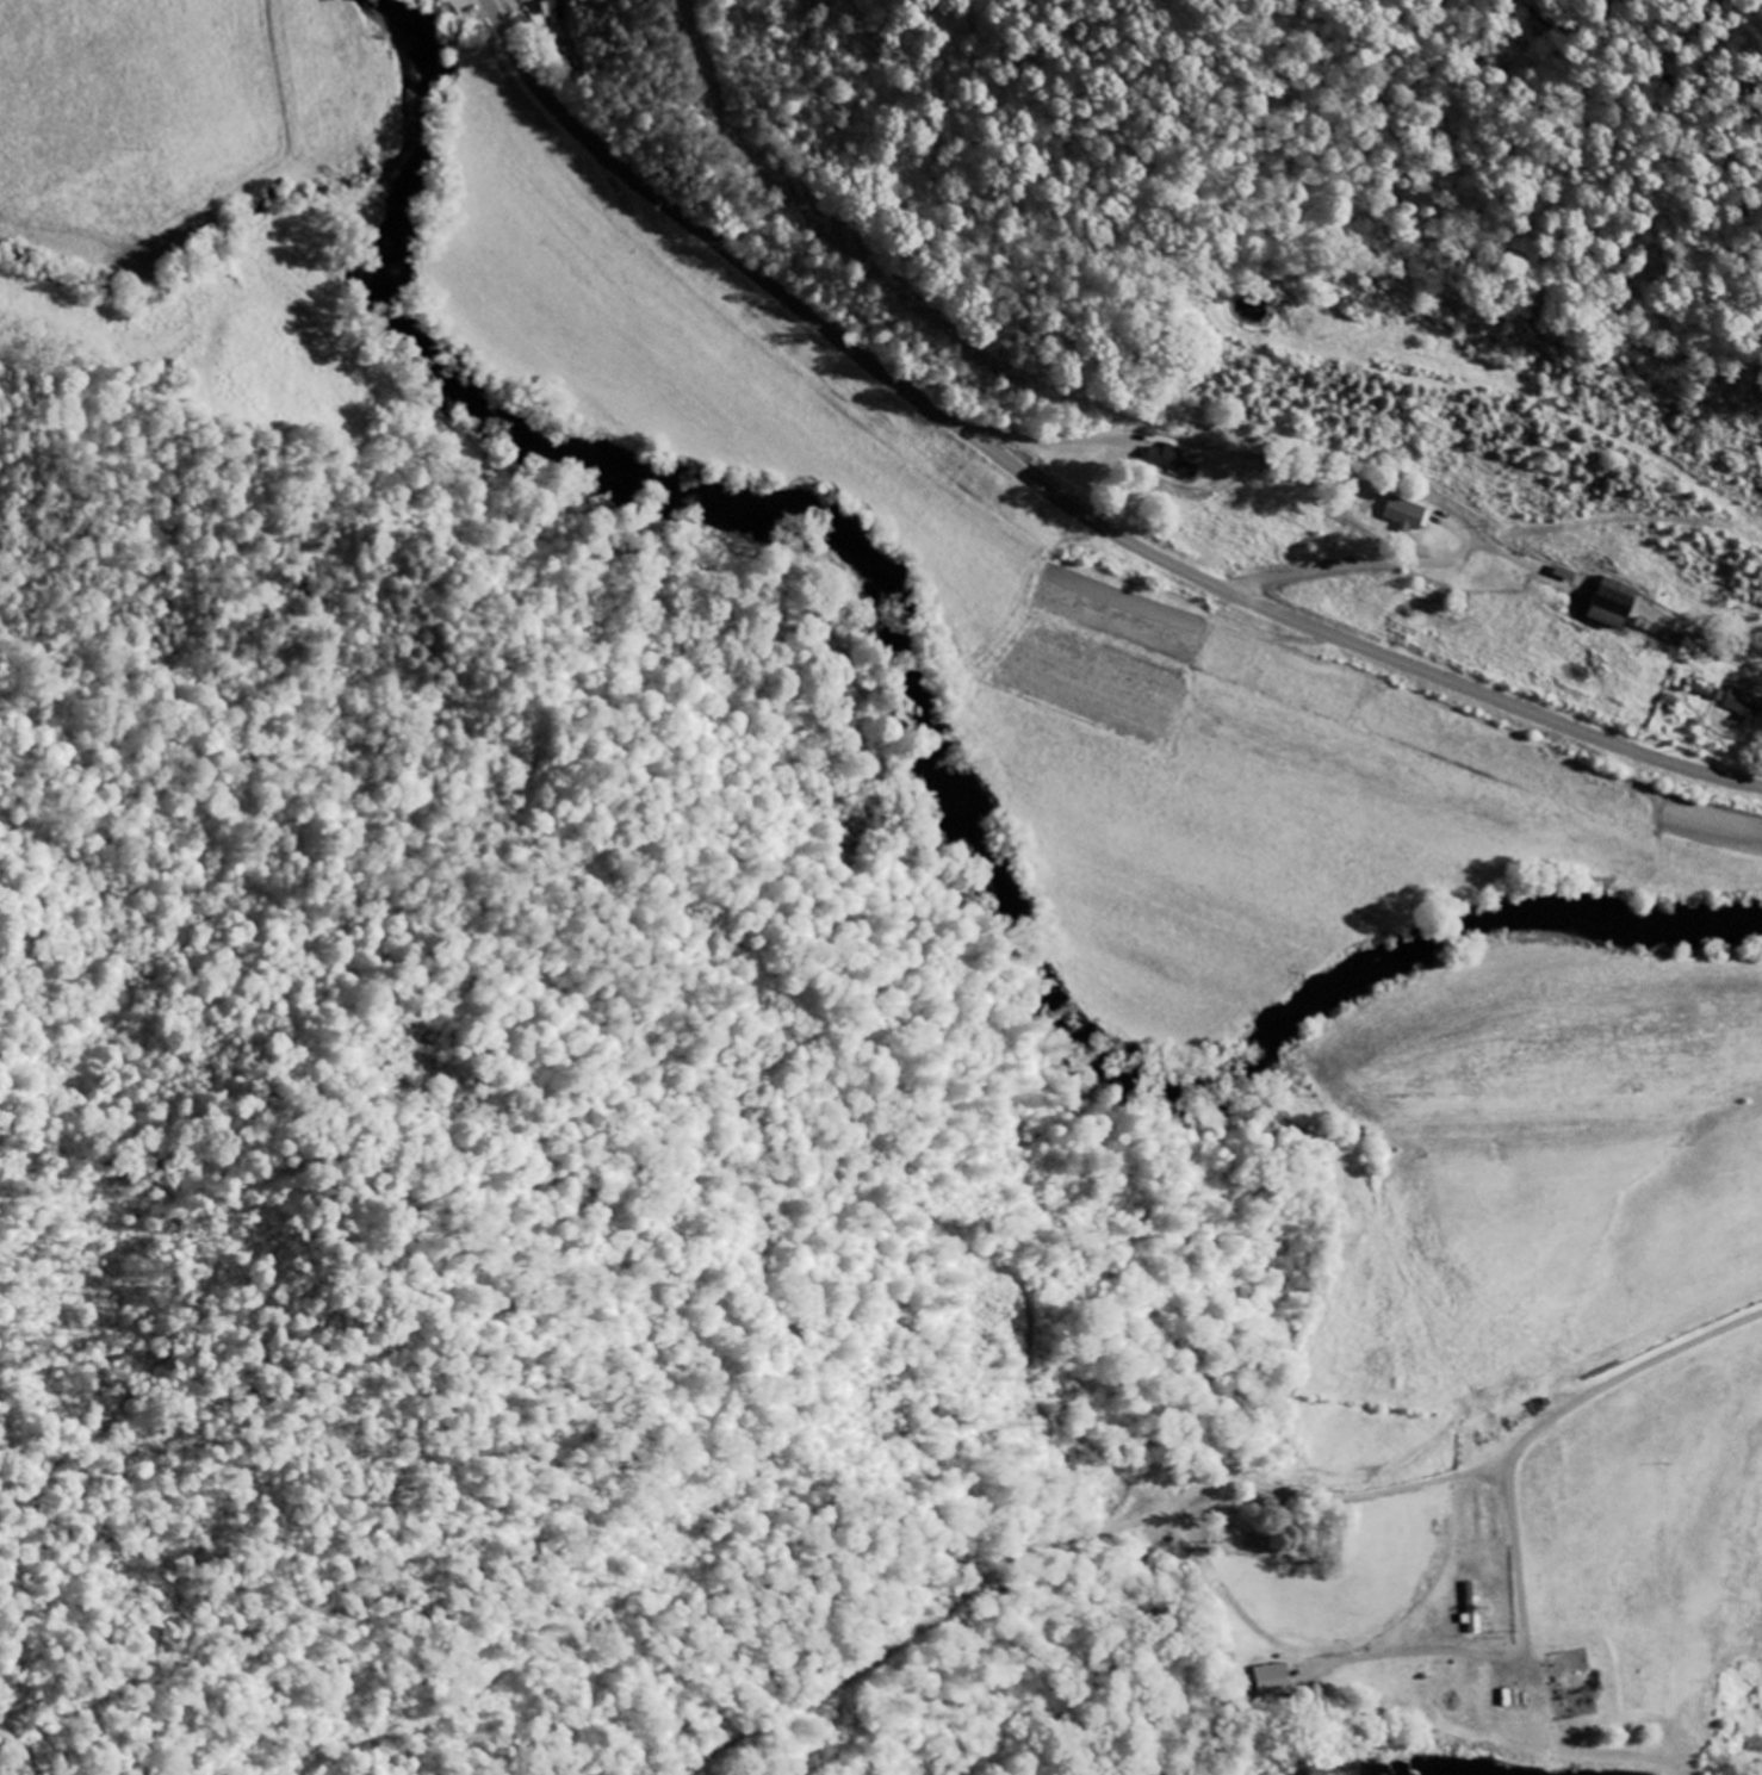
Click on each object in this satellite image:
building: (552, 12)
road: (1043, 432)
building: (1172, 464)
road: (1056, 498)
road: (1365, 564)
building: (1615, 606)
building: (1654, 629)
building: (1676, 639)
road: (1705, 640)
building: (1705, 696)
building: (1745, 705)
road: (1545, 1426)
building: (1475, 1609)
building: (1276, 1681)

